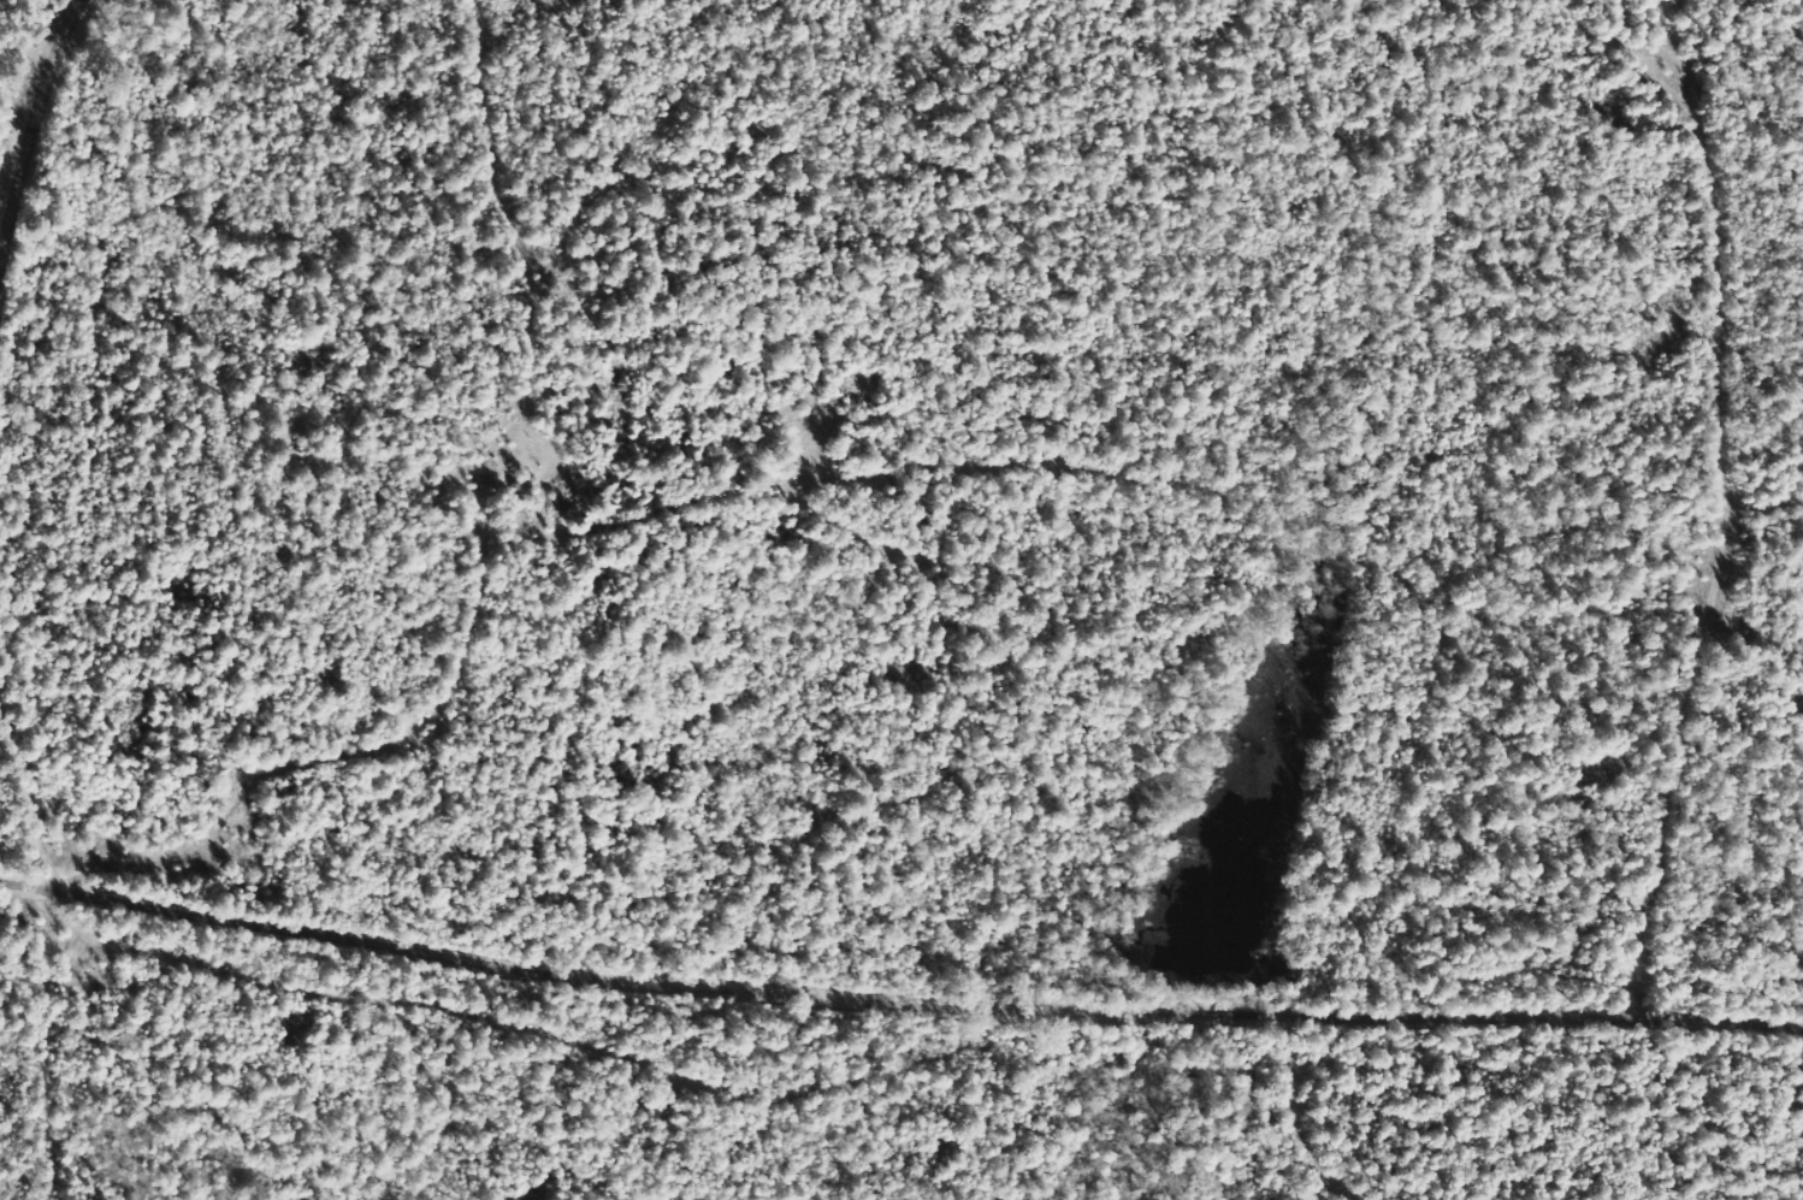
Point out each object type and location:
road: (61, 238)
road: (903, 1065)

